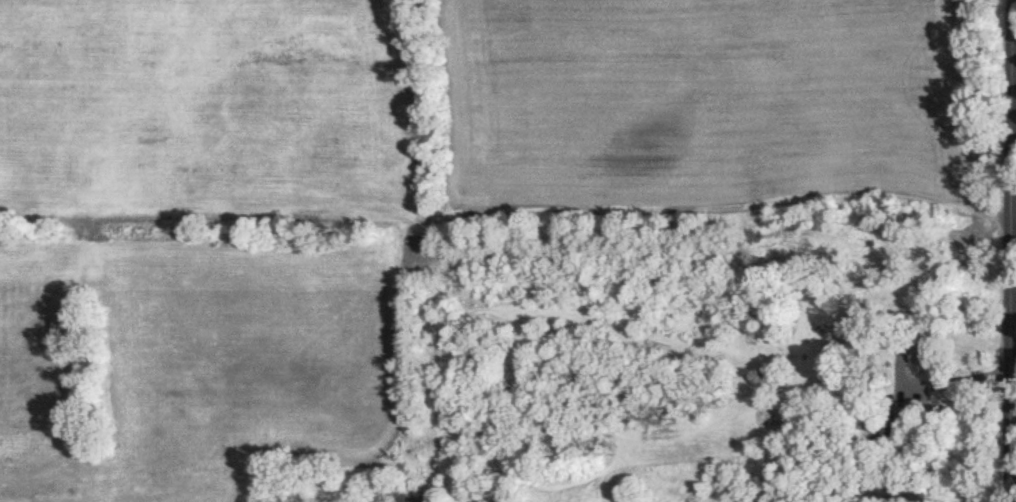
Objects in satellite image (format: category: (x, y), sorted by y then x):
road: (1015, 303)
road: (1015, 307)
building: (921, 350)
road: (957, 378)
building: (884, 427)
building: (899, 489)

